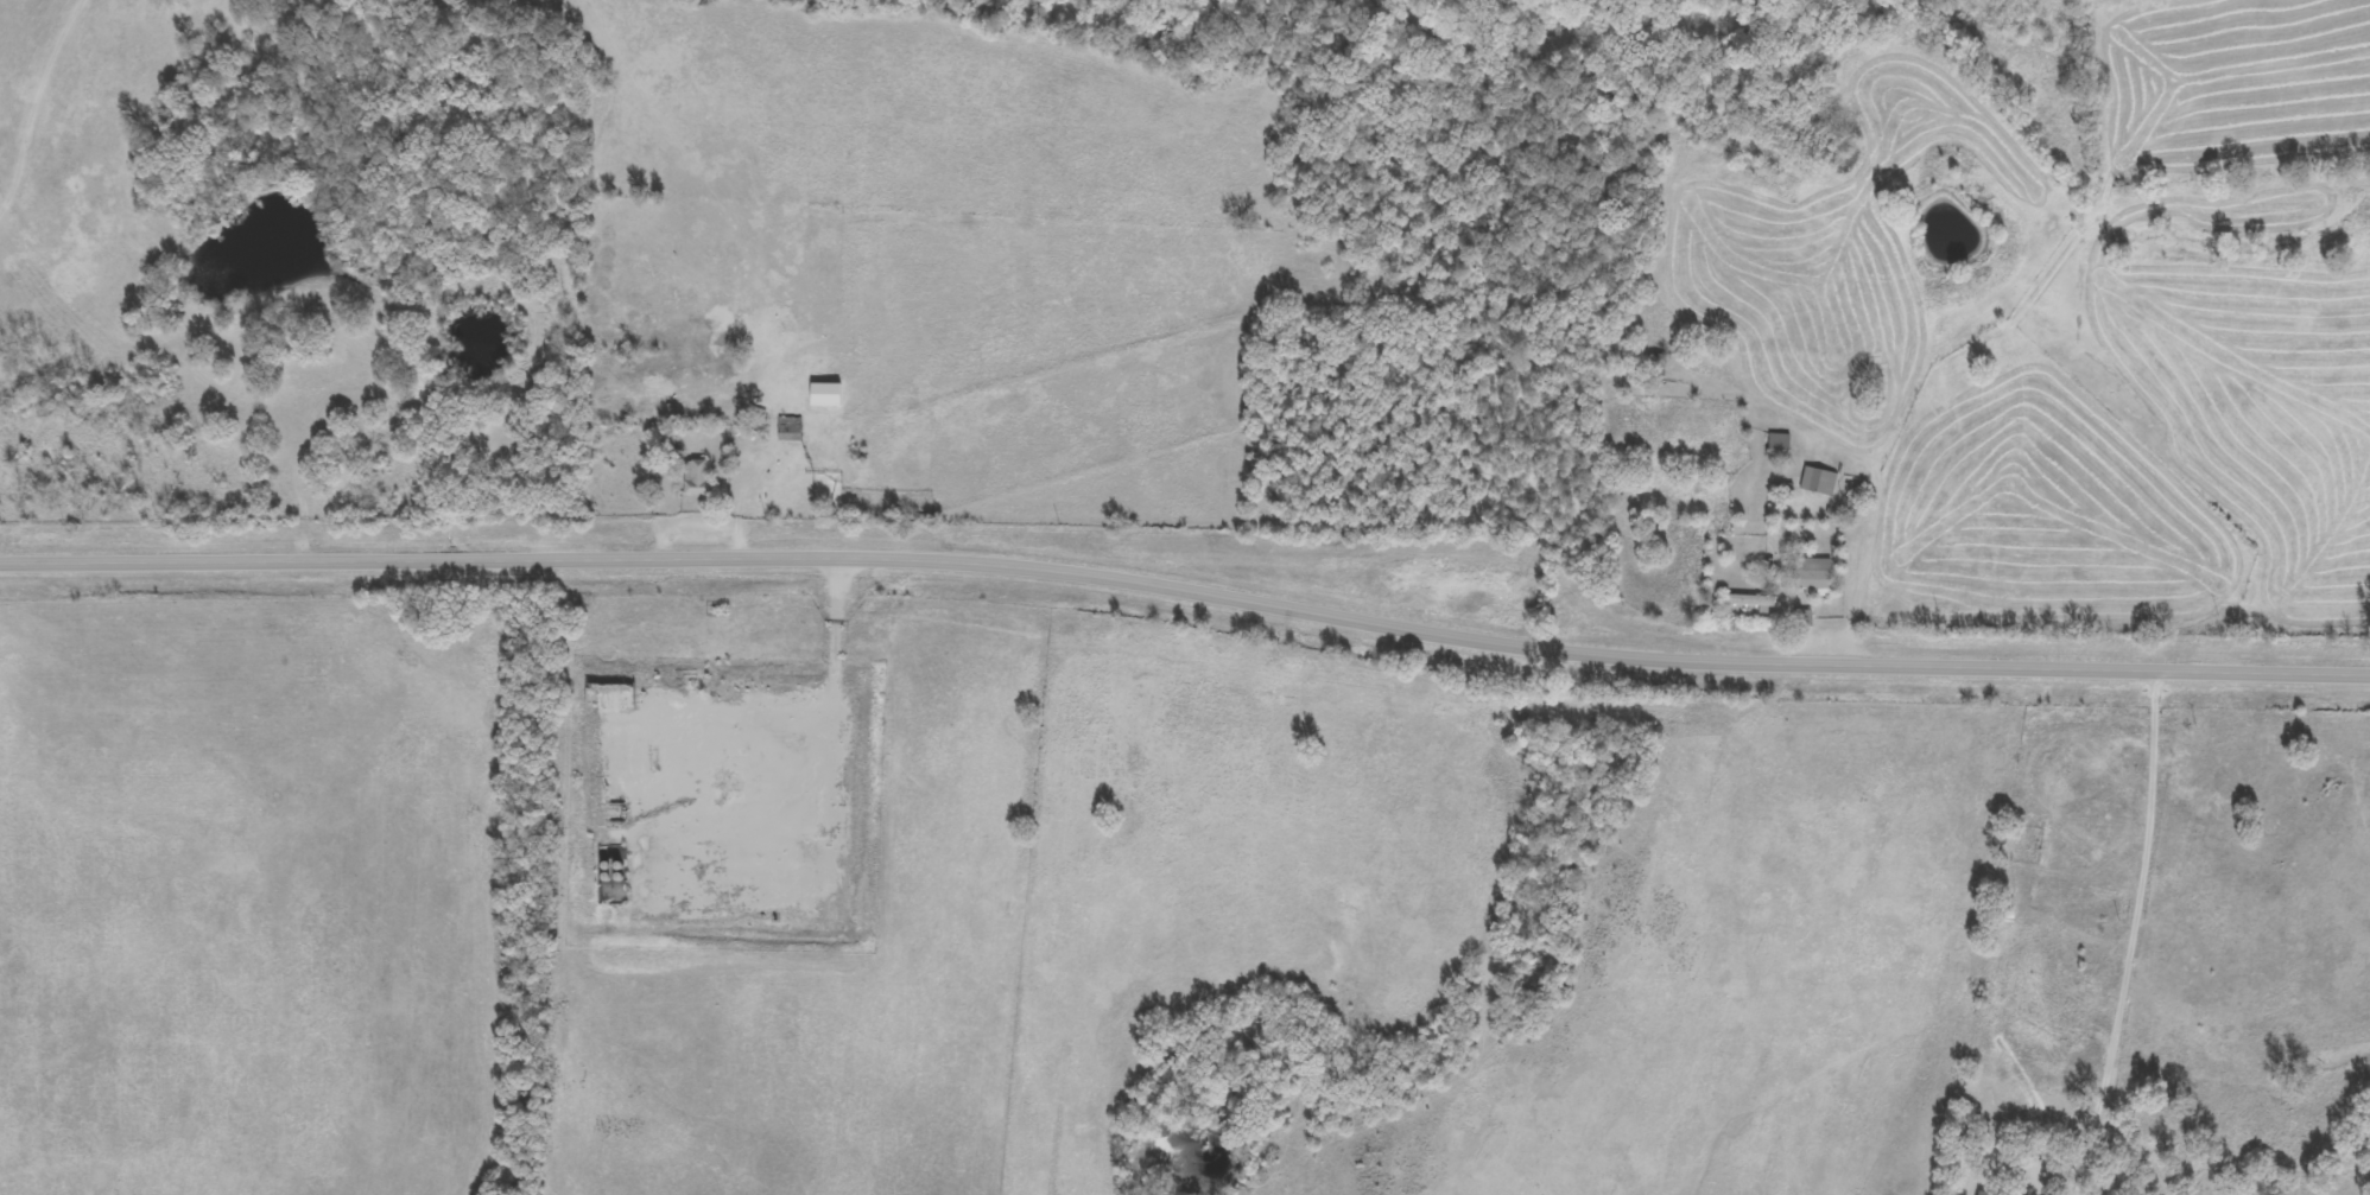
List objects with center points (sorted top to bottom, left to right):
building: (1654, 366)
building: (786, 428)
building: (1775, 444)
building: (693, 481)
building: (1814, 482)
building: (1808, 577)
road: (1186, 590)
building: (1744, 602)

